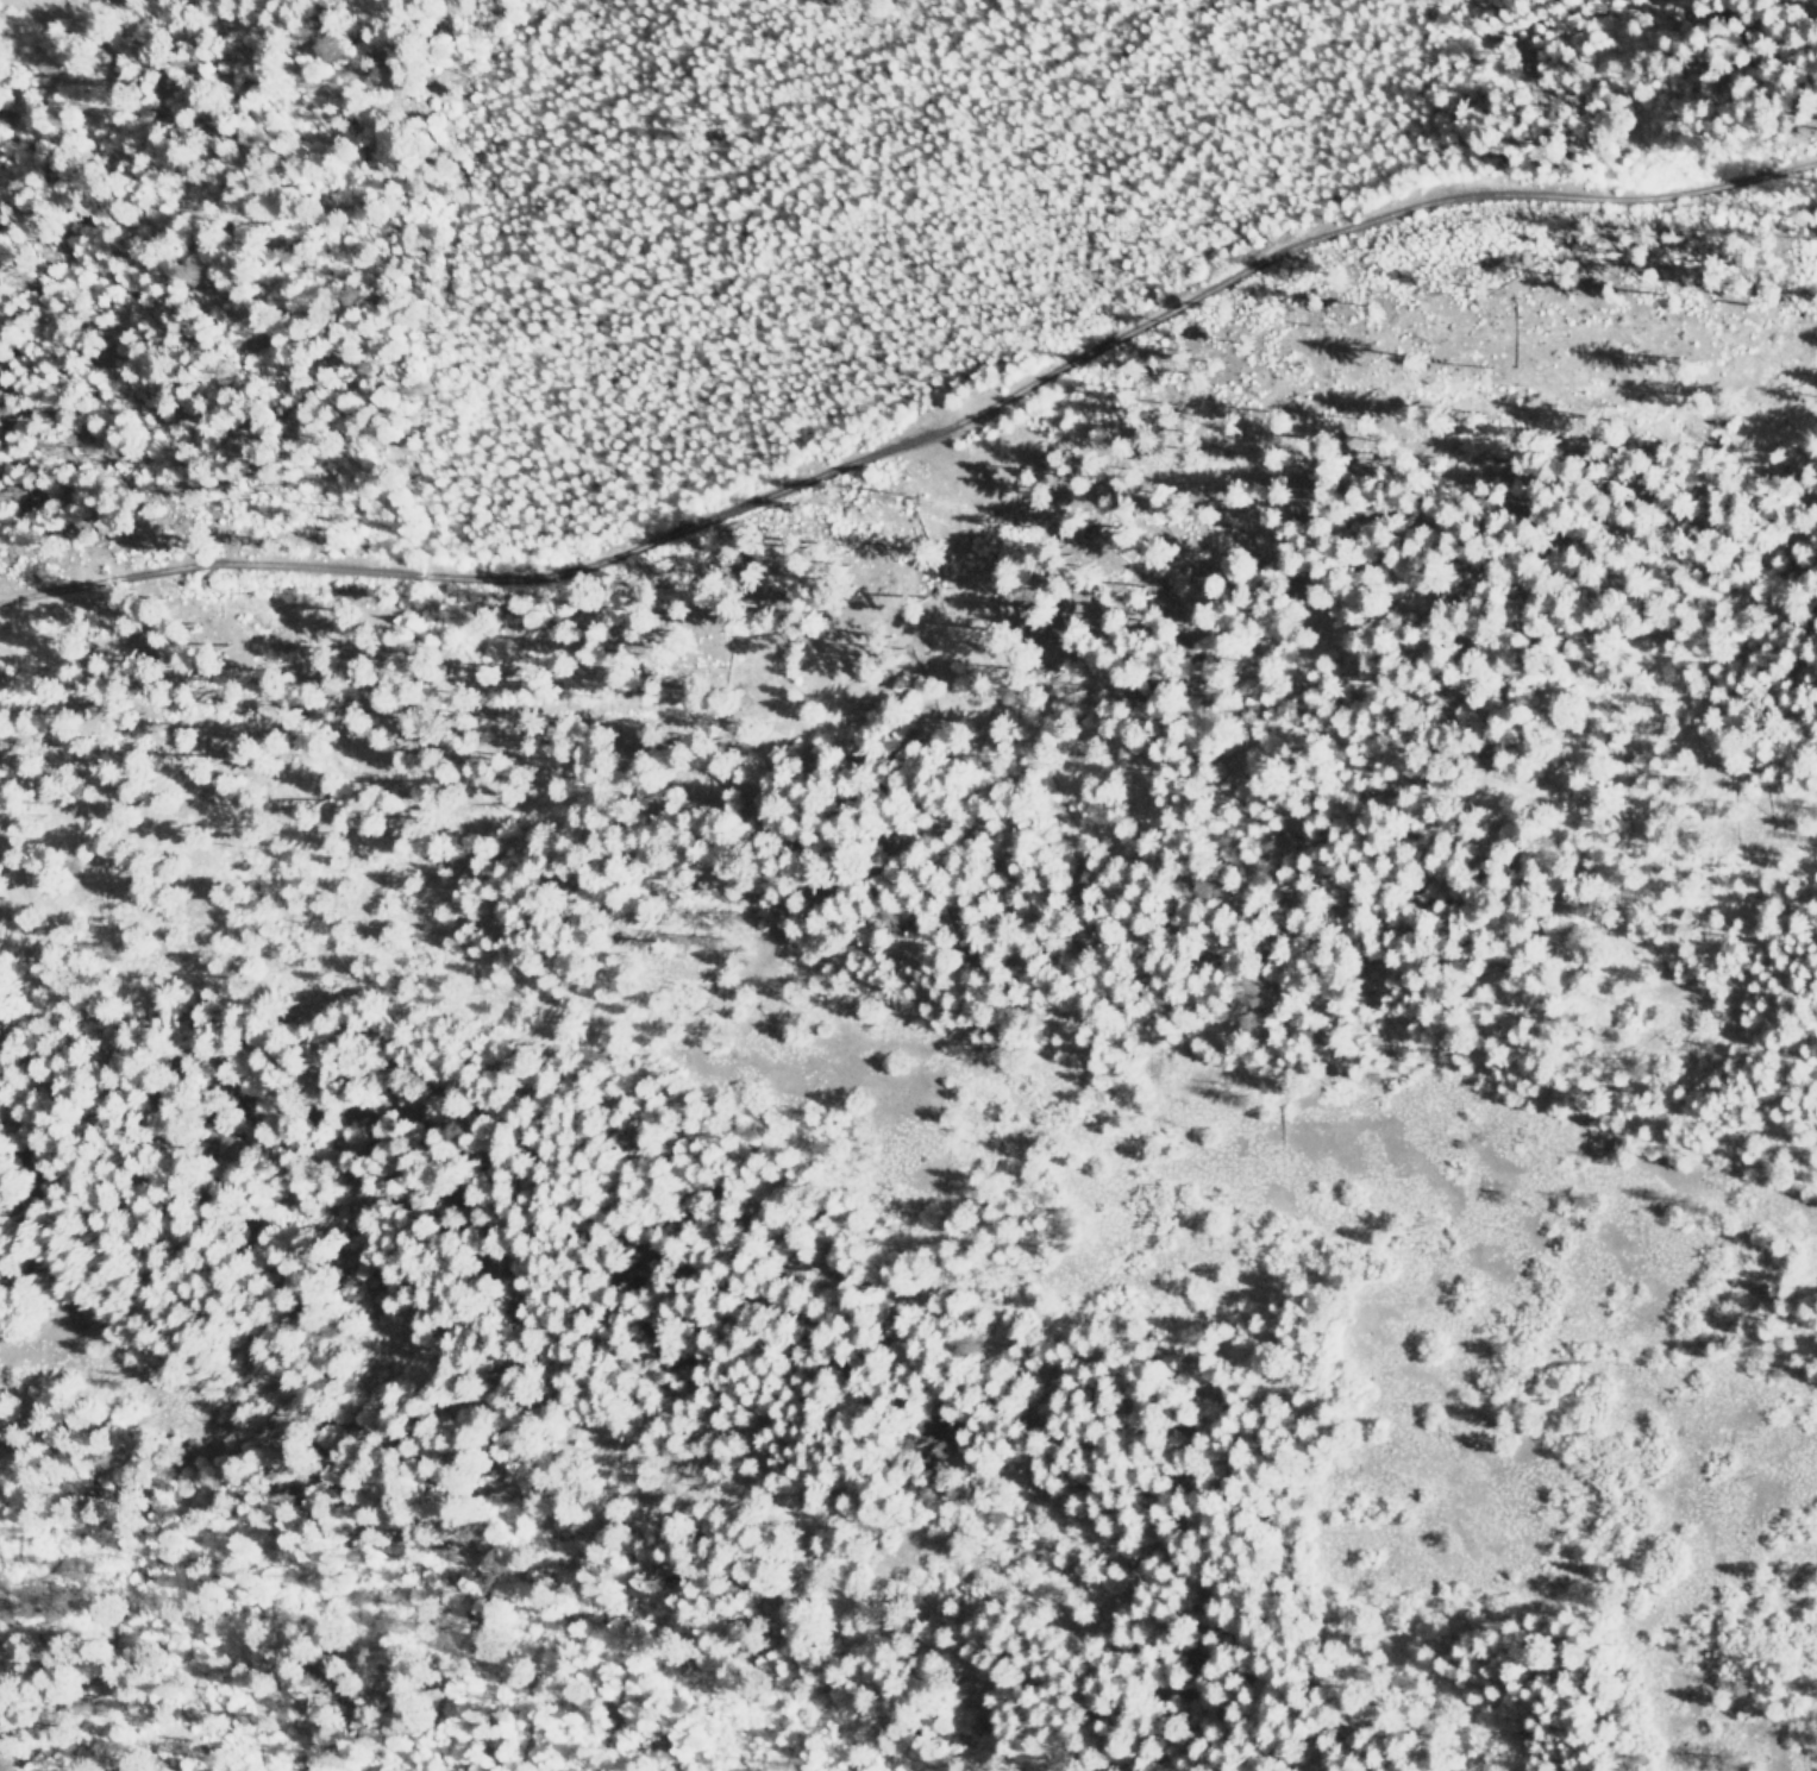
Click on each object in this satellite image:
road: (1803, 168)
road: (907, 441)
road: (977, 539)

